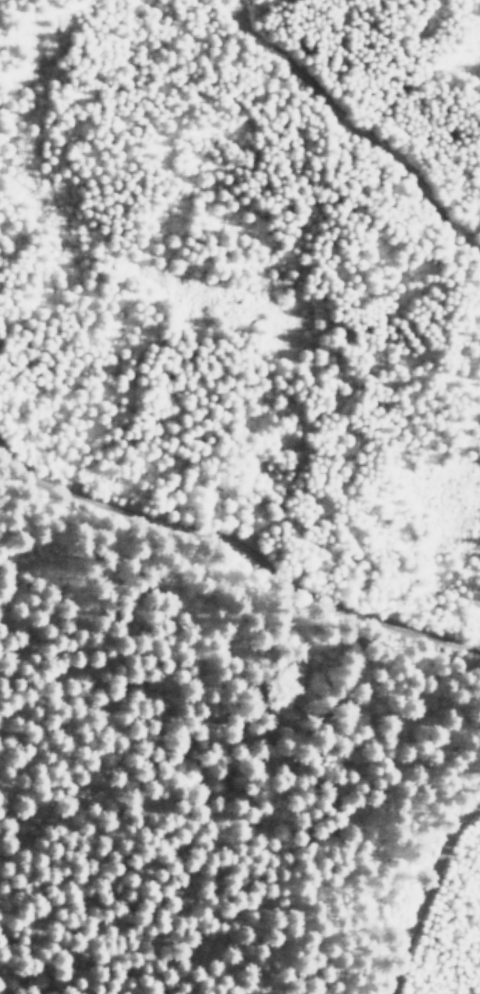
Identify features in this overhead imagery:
road: (380, 841)

